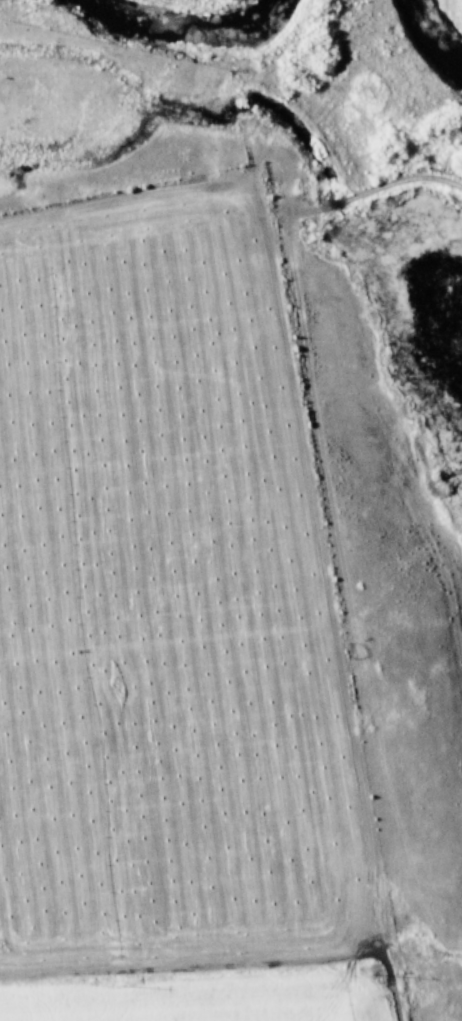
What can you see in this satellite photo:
river: (193, 7)
river: (458, 17)

